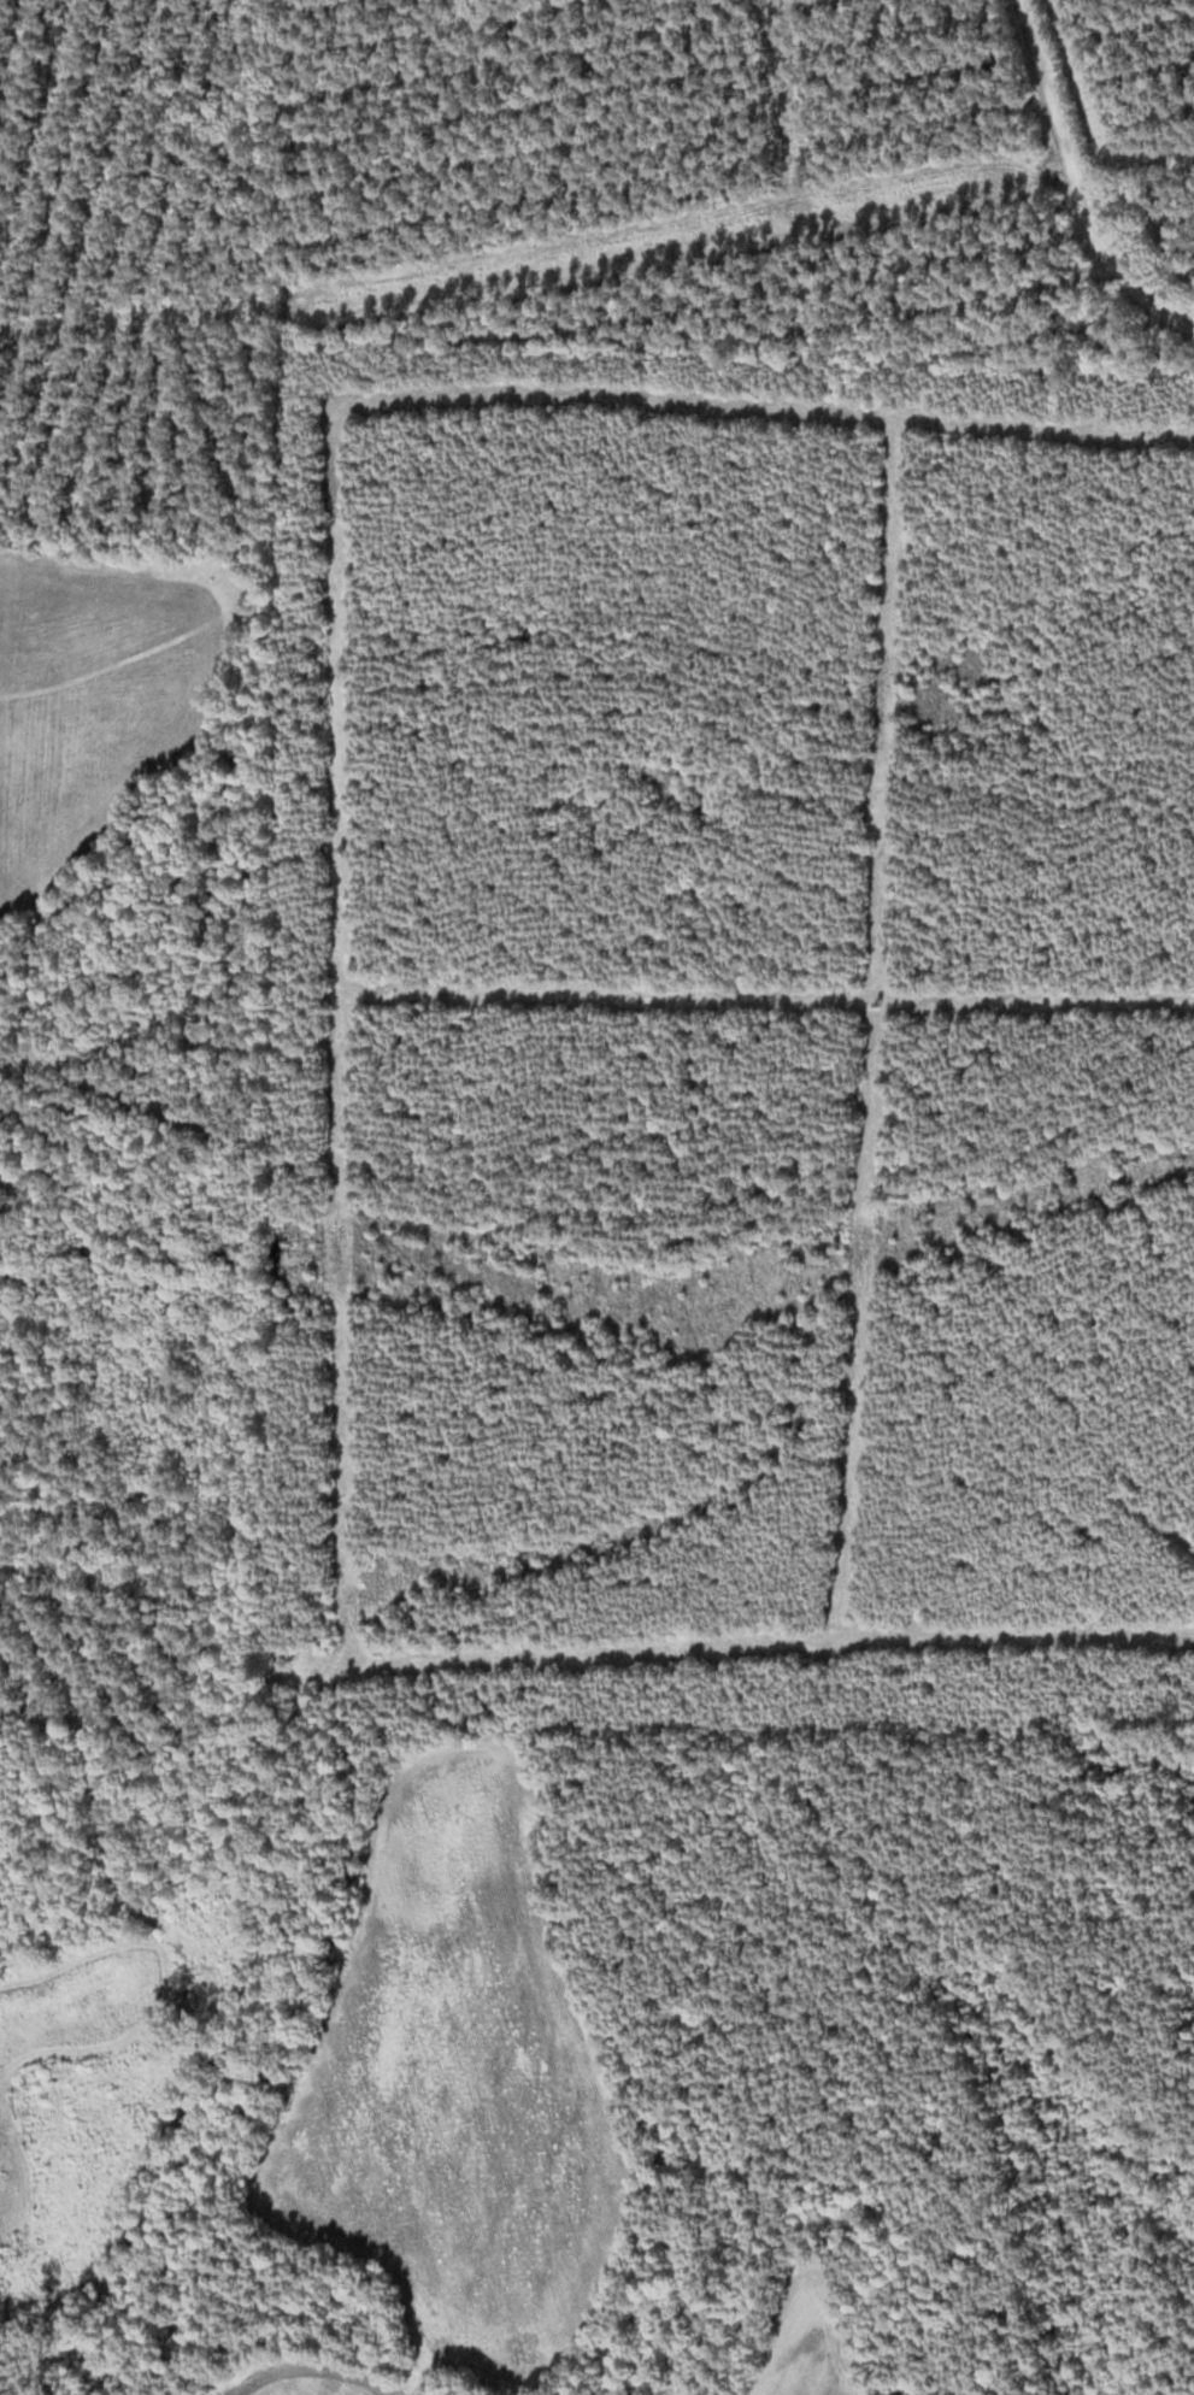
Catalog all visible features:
road: (1077, 183)

